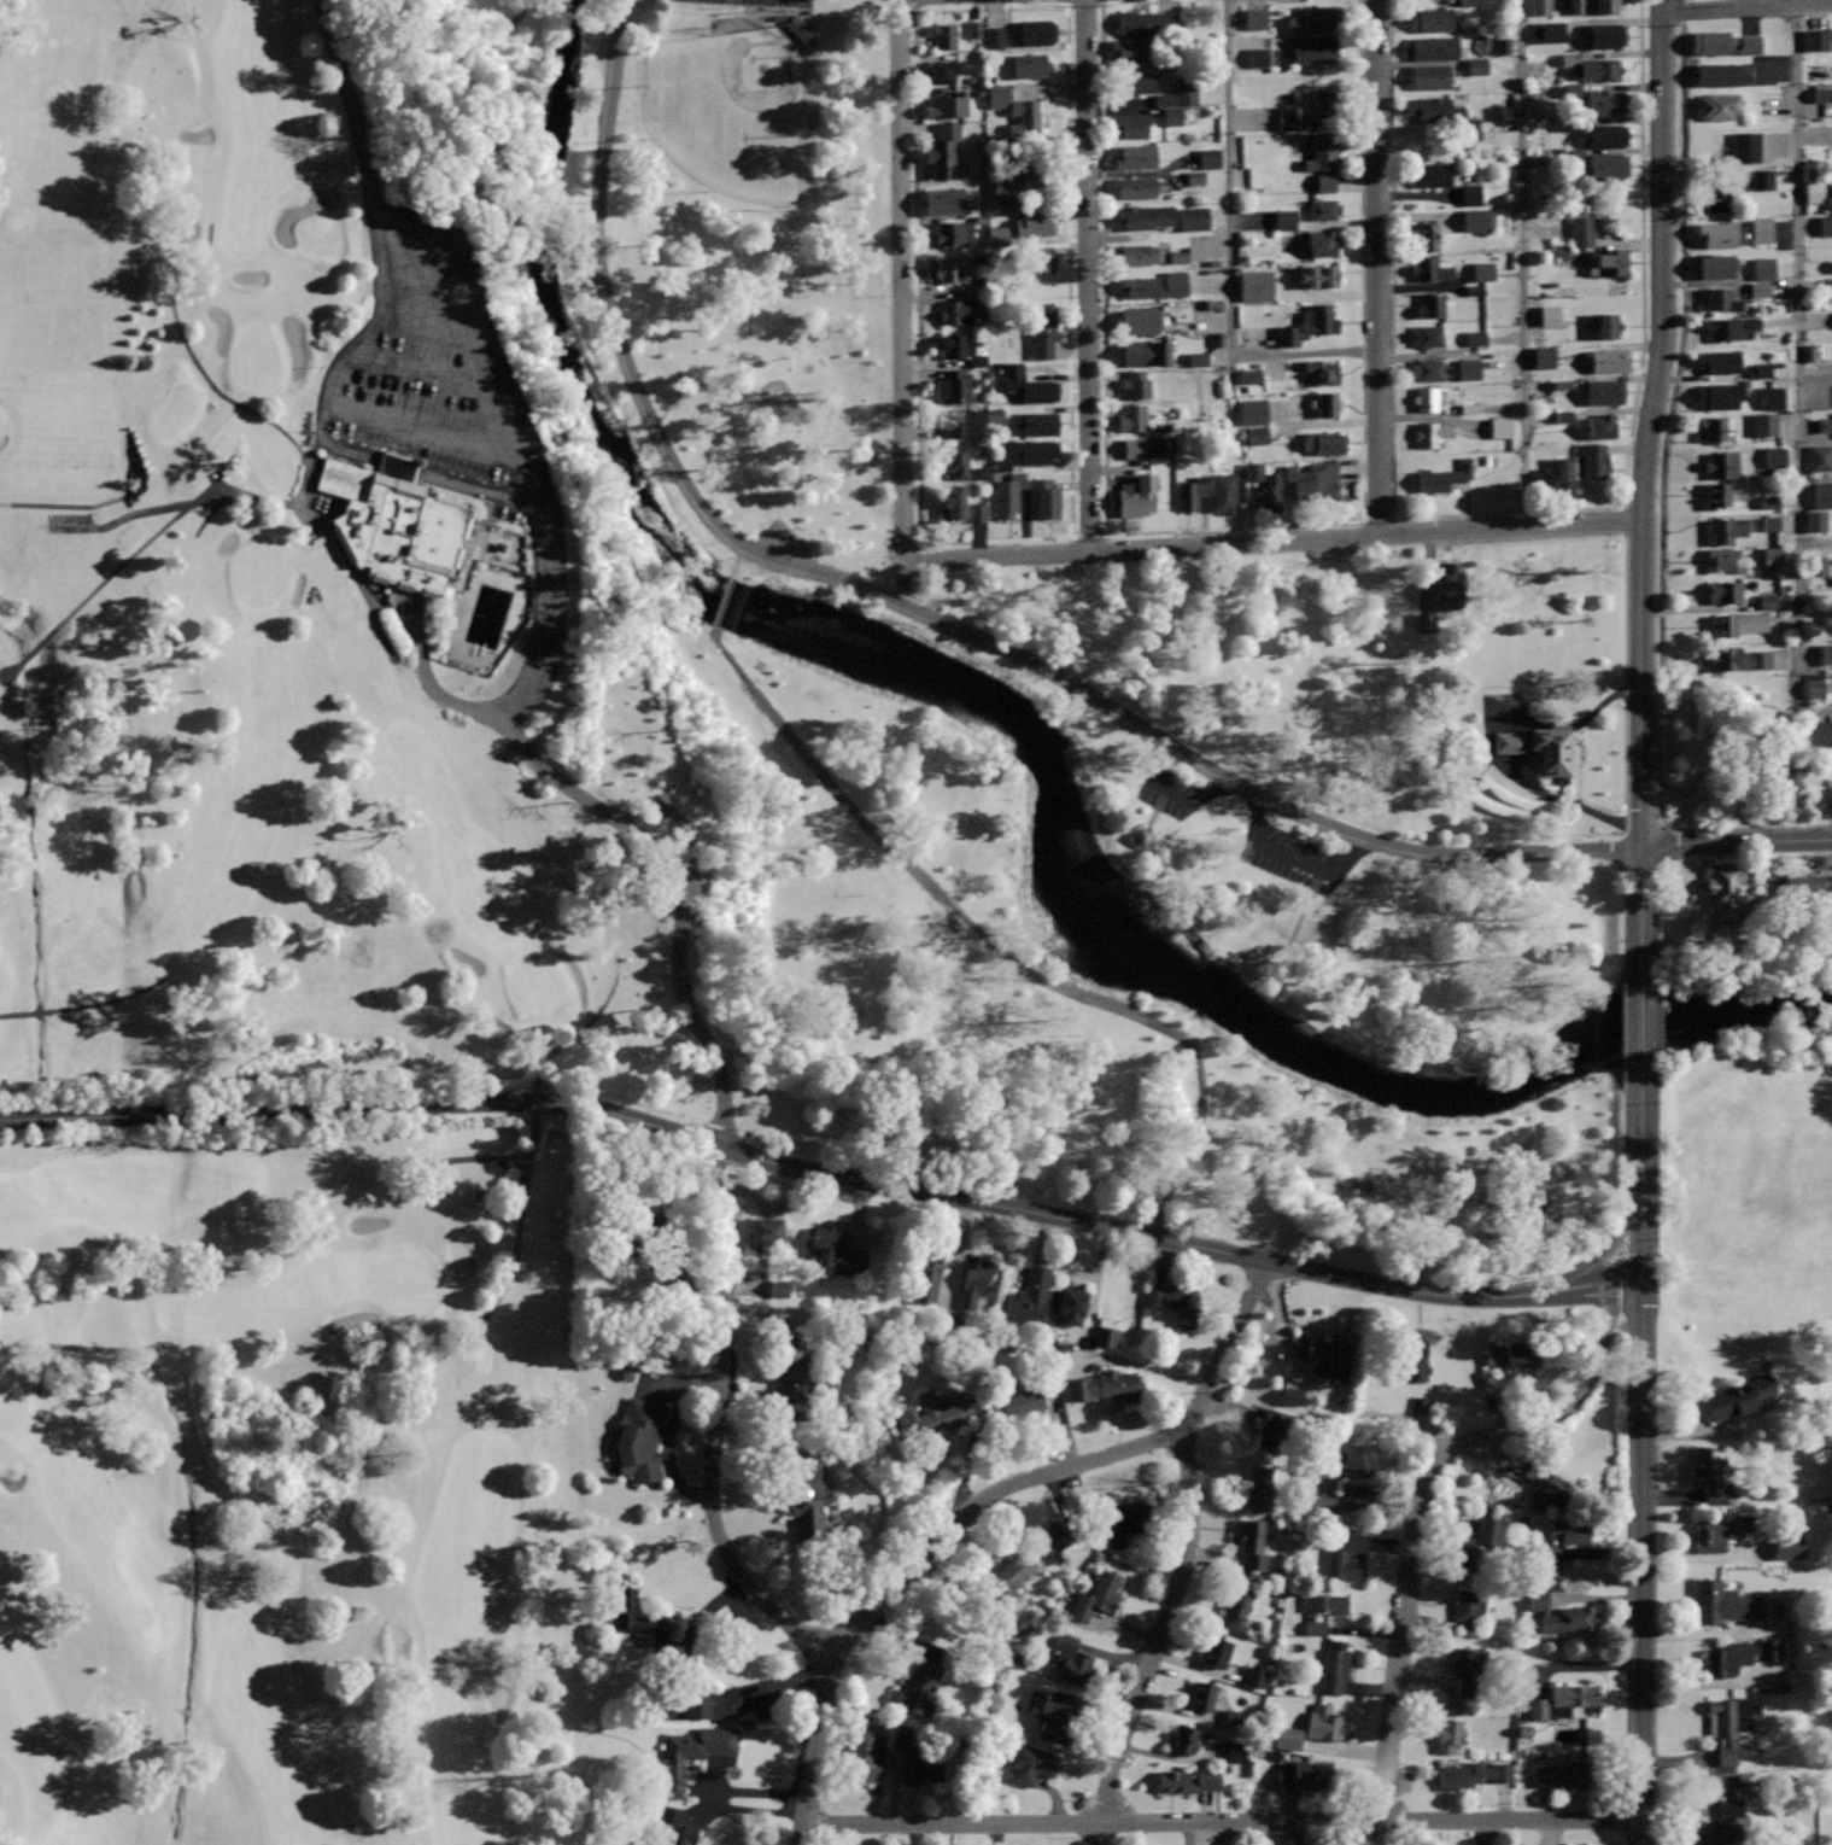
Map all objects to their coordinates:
road: (912, 2)
parking lot: (747, 5)
building: (1594, 5)
building: (1539, 6)
road: (1744, 6)
building: (1316, 17)
building: (1254, 18)
building: (1432, 19)
building: (1147, 21)
building: (973, 29)
building: (798, 30)
road: (493, 31)
building: (1034, 31)
building: (1551, 31)
building: (1605, 35)
building: (943, 36)
building: (993, 37)
building: (1816, 39)
building: (1723, 42)
building: (1503, 45)
building: (1434, 47)
building: (1131, 48)
building: (1313, 48)
building: (1257, 57)
building: (1030, 64)
building: (1477, 66)
building: (943, 70)
building: (1603, 70)
building: (1761, 71)
building: (1720, 74)
building: (1430, 76)
building: (1136, 81)
building: (1571, 89)
building: (815, 91)
building: (1184, 91)
building: (1821, 94)
road: (347, 101)
building: (1604, 101)
building: (947, 105)
building: (1325, 105)
building: (1719, 105)
building: (1429, 107)
building: (1018, 109)
building: (1167, 109)
park: (731, 110)
building: (1286, 118)
building: (1131, 124)
building: (1606, 135)
building: (1719, 139)
building: (1745, 146)
building: (946, 150)
building: (1575, 154)
building: (1135, 156)
building: (1207, 158)
building: (1324, 159)
building: (1023, 164)
building: (1605, 165)
building: (1432, 174)
building: (1194, 176)
building: (1761, 179)
building: (1136, 187)
building: (1813, 192)
building: (1470, 194)
building: (1006, 195)
building: (944, 199)
building: (1715, 200)
road: (1230, 208)
building: (1322, 208)
building: (1147, 215)
building: (1192, 217)
building: (1283, 218)
building: (1476, 220)
building: (1035, 223)
building: (1825, 224)
building: (1581, 230)
building: (1761, 230)
building: (955, 232)
building: (1721, 233)
building: (996, 235)
building: (1424, 235)
building: (1322, 243)
building: (1558, 250)
building: (1140, 255)
building: (1177, 257)
building: (1035, 258)
building: (1608, 261)
road: (1522, 263)
building: (1716, 265)
building: (1831, 265)
road: (1374, 267)
building: (1762, 268)
building: (950, 269)
building: (1432, 269)
building: (1482, 270)
road: (1089, 275)
building: (1319, 275)
road: (901, 281)
building: (1254, 285)
building: (1155, 286)
building: (1758, 288)
building: (1474, 290)
building: (1721, 299)
building: (1430, 304)
building: (956, 310)
building: (1549, 315)
building: (1140, 321)
building: (1605, 323)
building: (1310, 325)
building: (1731, 327)
building: (1043, 333)
building: (1428, 334)
building: (1474, 338)
building: (962, 346)
building: (1147, 352)
road: (1303, 354)
building: (1543, 357)
building: (1195, 358)
building: (1608, 360)
building: (1721, 360)
road: (200, 364)
building: (1468, 368)
road: (1798, 368)
building: (1427, 369)
building: (1761, 369)
parking lot: (423, 370)
building: (1324, 372)
building: (1248, 375)
building: (1028, 384)
building: (1136, 384)
building: (959, 385)
building: (1604, 391)
building: (1721, 395)
building: (1772, 397)
building: (1426, 398)
building: (1327, 403)
building: (1468, 408)
building: (1252, 411)
building: (1562, 416)
building: (1135, 418)
road: (1647, 421)
building: (962, 422)
building: (1037, 422)
building: (1763, 424)
building: (1824, 425)
building: (1600, 426)
building: (1500, 427)
building: (1715, 427)
building: (1433, 433)
building: (1257, 434)
road: (324, 436)
building: (1324, 442)
building: (1132, 448)
building: (1032, 449)
building: (1774, 456)
building: (1819, 457)
building: (961, 460)
building: (1596, 461)
building: (1723, 463)
building: (1253, 471)
building: (1550, 473)
building: (1446, 475)
building: (1312, 480)
building: (1228, 491)
building: (1271, 491)
building: (1193, 492)
building: (1137, 494)
building: (1717, 494)
building: (1822, 494)
building: (1006, 495)
building: (1046, 496)
building: (955, 500)
building: (1769, 502)
road: (1657, 508)
building: (974, 512)
road: (1502, 513)
road: (123, 516)
building: (1814, 520)
building: (394, 521)
building: (1769, 524)
road: (164, 525)
road: (1227, 527)
building: (1727, 529)
road: (993, 537)
parking lot: (780, 539)
road: (1272, 539)
building: (1772, 553)
building: (1721, 557)
road: (737, 562)
building: (1816, 565)
building: (1447, 585)
road: (1626, 586)
building: (1726, 591)
building: (1767, 601)
road: (722, 603)
road: (920, 613)
building: (1740, 623)
building: (1825, 654)
building: (1738, 658)
building: (1814, 685)
road: (523, 690)
park: (976, 710)
building: (1819, 732)
building: (1508, 742)
river: (1034, 747)
building: (1550, 749)
park: (1723, 752)
parking lot: (1252, 834)
road: (1737, 841)
building: (1726, 889)
building: (1801, 892)
road: (1643, 904)
road: (997, 947)
park: (283, 983)
road: (83, 1005)
road: (1643, 1016)
road: (534, 1111)
road: (1641, 1172)
road: (823, 1174)
building: (767, 1234)
road: (1608, 1242)
building: (667, 1243)
building: (835, 1253)
building: (926, 1278)
building: (973, 1283)
building: (1028, 1297)
building: (1177, 1300)
building: (1067, 1304)
building: (837, 1332)
building: (1104, 1337)
road: (437, 1338)
road: (1224, 1349)
building: (1511, 1353)
building: (1325, 1355)
building: (1415, 1367)
building: (791, 1385)
building: (1105, 1385)
building: (1292, 1396)
building: (1738, 1396)
building: (1020, 1401)
building: (1417, 1405)
building: (935, 1413)
building: (1263, 1429)
road: (716, 1430)
building: (640, 1437)
building: (1709, 1475)
building: (1547, 1484)
building: (1259, 1488)
building: (1360, 1496)
road: (982, 1501)
building: (809, 1505)
building: (1322, 1505)
road: (1417, 1510)
building: (1124, 1522)
building: (1569, 1531)
building: (1714, 1534)
building: (1059, 1536)
building: (1254, 1542)
building: (1476, 1543)
building: (1787, 1547)
building: (1345, 1555)
road: (1641, 1559)
building: (1008, 1575)
building: (1098, 1594)
building: (1723, 1601)
building: (1474, 1605)
building: (631, 1607)
building: (1239, 1607)
building: (1322, 1608)
building: (1562, 1613)
road: (1158, 1640)
building: (1769, 1650)
building: (1216, 1651)
building: (1729, 1657)
building: (1072, 1658)
building: (1335, 1665)
building: (1467, 1665)
building: (1254, 1677)
building: (915, 1686)
building: (1204, 1694)
building: (1573, 1698)
building: (703, 1704)
building: (1451, 1707)
building: (1533, 1709)
building: (1058, 1710)
building: (1582, 1711)
building: (1729, 1722)
building: (1324, 1723)
building: (1451, 1734)
building: (901, 1736)
building: (1286, 1738)
building: (1184, 1739)
road: (376, 1741)
road: (815, 1748)
building: (693, 1752)
building: (1235, 1752)
building: (866, 1756)
building: (1030, 1763)
building: (921, 1764)
building: (1473, 1773)
building: (1568, 1773)
building: (1304, 1774)
building: (1188, 1780)
building: (1722, 1785)
road: (1223, 1821)
building: (1723, 1823)
building: (677, 1827)

